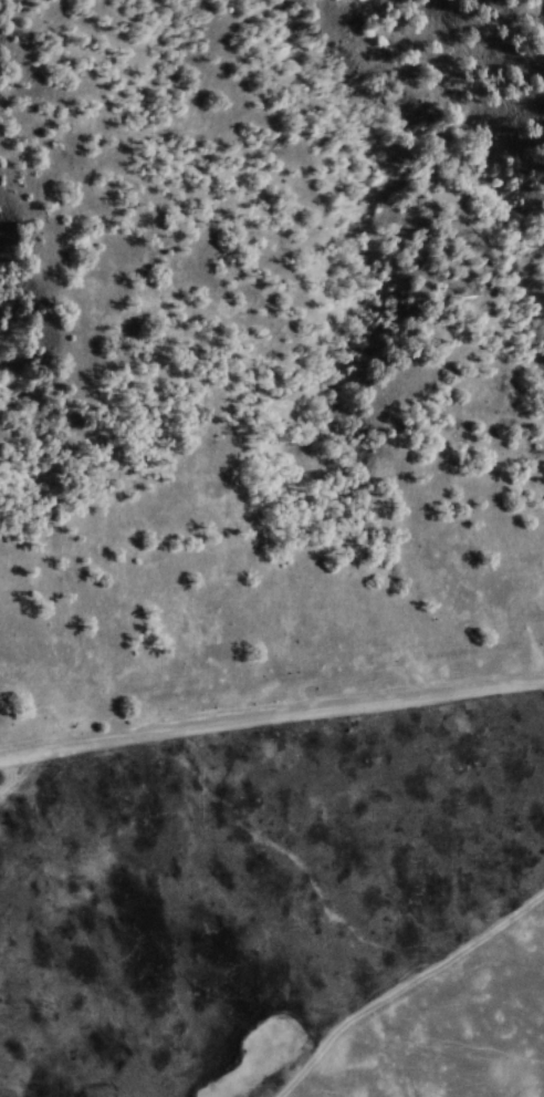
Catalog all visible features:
road: (271, 718)
road: (402, 987)

